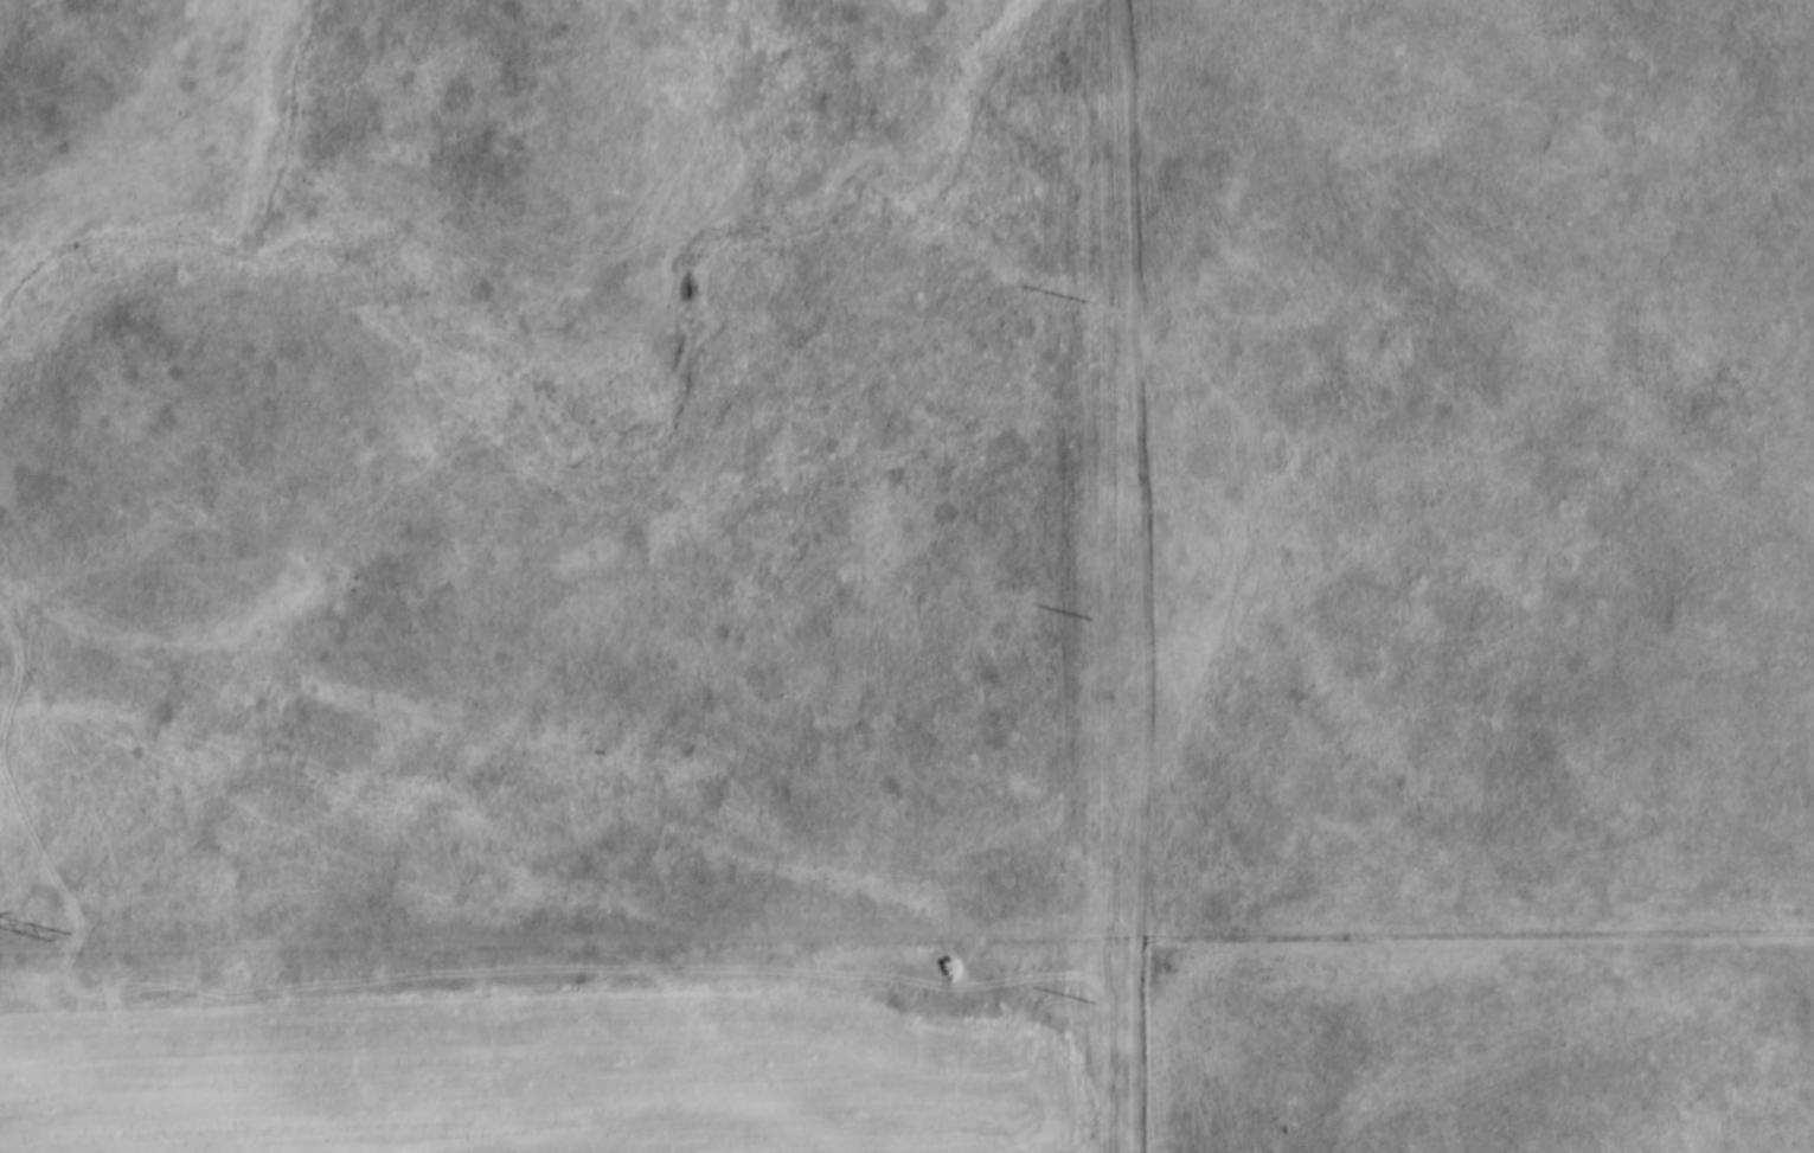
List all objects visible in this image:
power tower: (41, 941)

